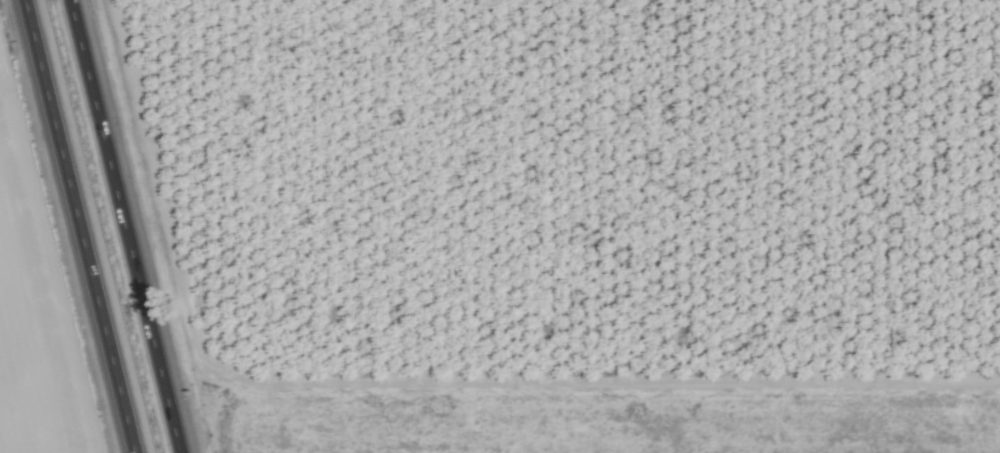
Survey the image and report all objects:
crop: (560, 221)
road: (78, 226)
road: (123, 226)

